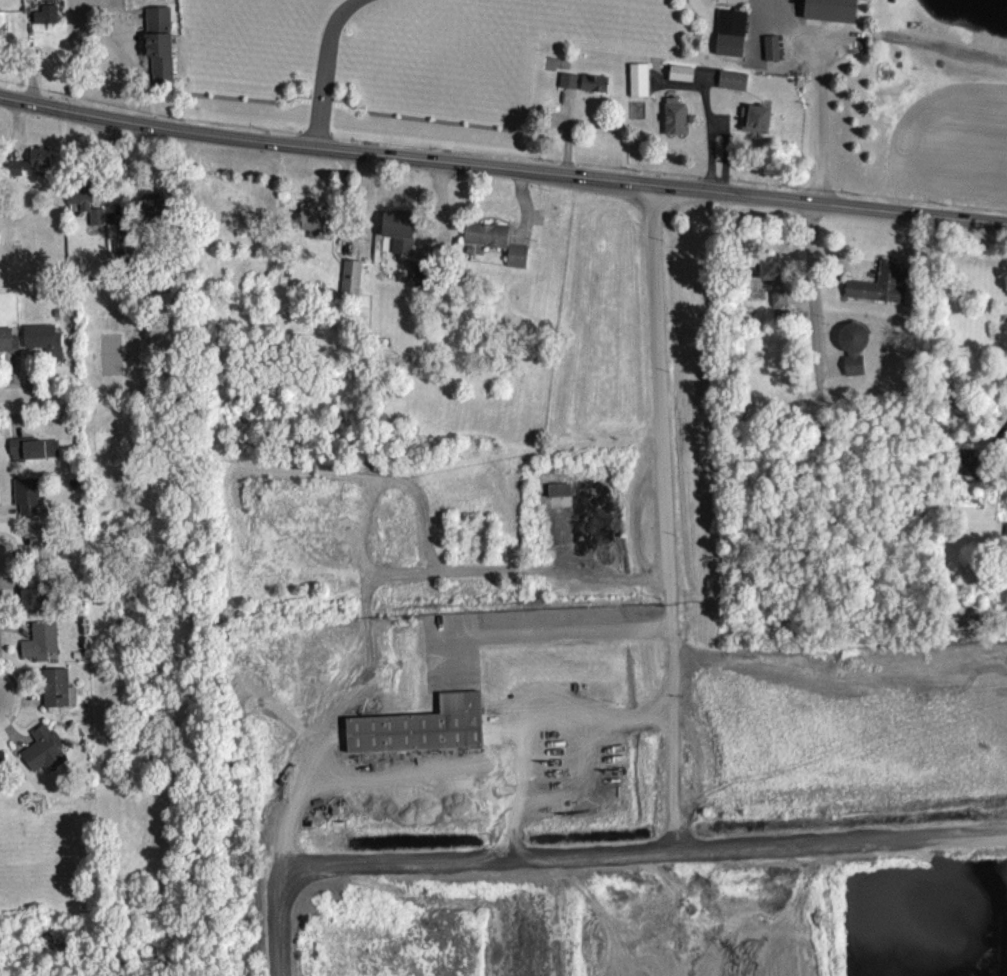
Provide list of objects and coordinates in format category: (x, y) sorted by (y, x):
building: (833, 13)
building: (48, 21)
building: (4, 30)
building: (732, 40)
building: (774, 55)
building: (162, 62)
road: (325, 68)
building: (683, 80)
building: (640, 86)
building: (570, 87)
building: (735, 87)
building: (597, 90)
road: (819, 91)
building: (677, 124)
building: (758, 126)
crop: (953, 142)
road: (502, 167)
building: (33, 168)
building: (81, 201)
building: (154, 214)
building: (99, 223)
building: (316, 229)
building: (402, 238)
building: (498, 248)
building: (125, 254)
building: (773, 275)
building: (424, 279)
building: (353, 284)
building: (882, 292)
building: (780, 305)
road: (816, 310)
building: (9, 346)
building: (46, 347)
building: (855, 354)
road: (30, 401)
road: (1006, 423)
building: (35, 456)
building: (970, 468)
building: (561, 502)
building: (29, 503)
road: (666, 516)
road: (637, 523)
building: (42, 549)
road: (610, 585)
building: (34, 600)
road: (542, 631)
building: (43, 648)
parking lot: (450, 649)
building: (59, 695)
road: (531, 715)
building: (420, 724)
building: (46, 756)
building: (3, 770)
road: (315, 790)
road: (642, 851)

